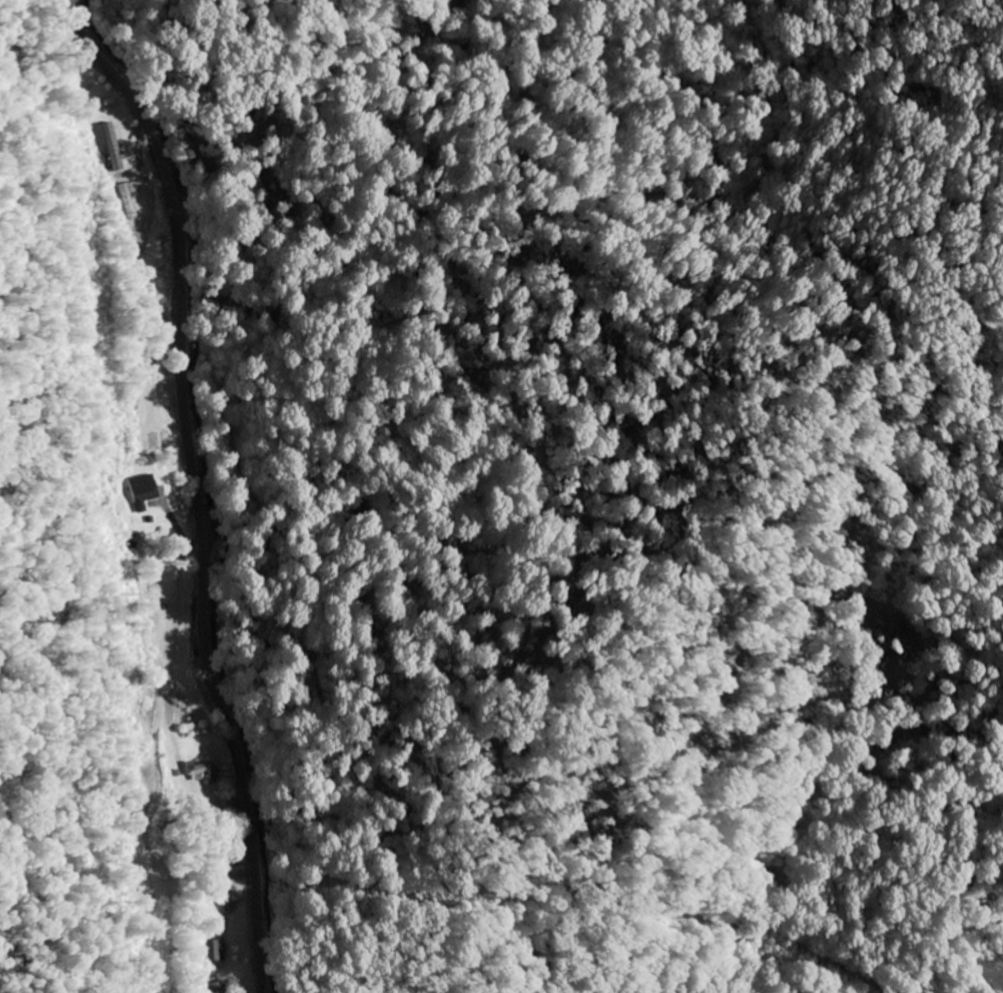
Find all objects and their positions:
building: (116, 147)
building: (157, 442)
road: (200, 485)
building: (145, 491)
building: (205, 774)
building: (212, 951)
building: (210, 988)

